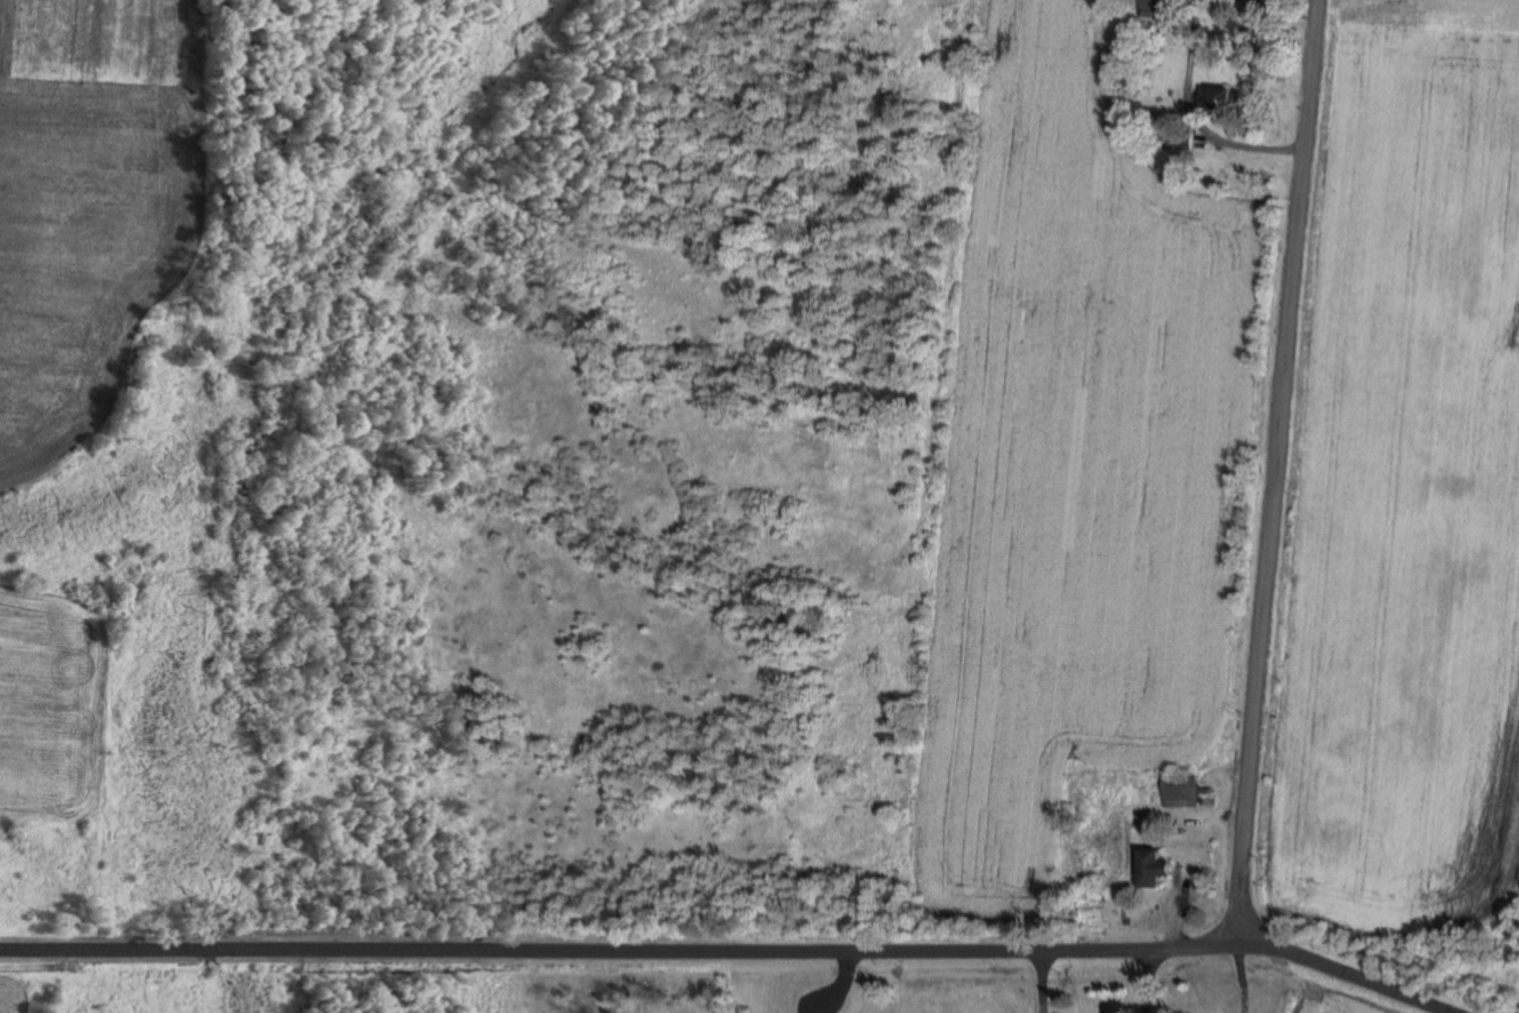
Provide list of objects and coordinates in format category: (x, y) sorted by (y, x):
building: (1151, 10)
building: (1220, 97)
building: (1183, 139)
road: (1261, 468)
building: (1180, 790)
building: (1151, 867)
road: (722, 945)
road: (1142, 975)
road: (1037, 976)

